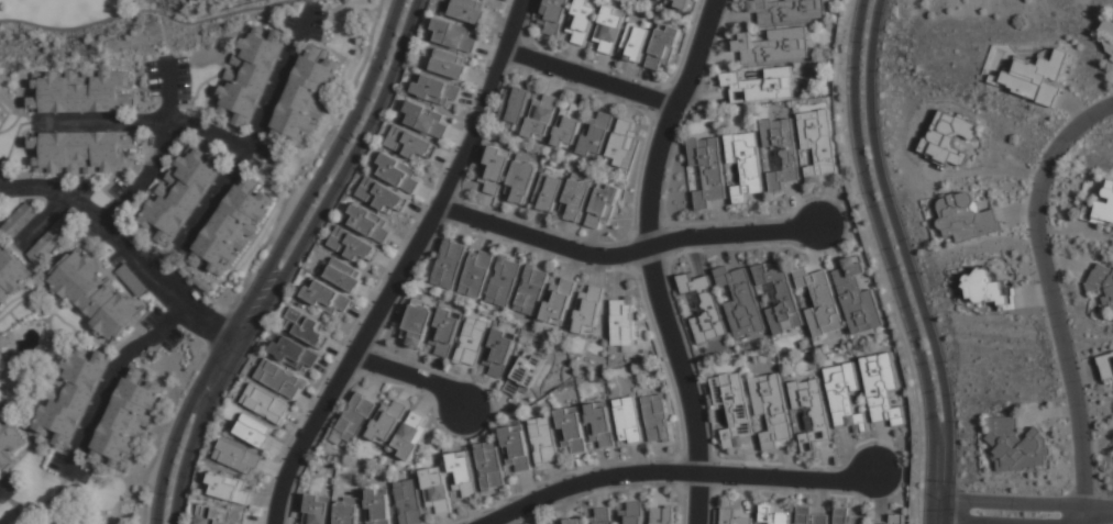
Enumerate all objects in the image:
building: (198, 0)
building: (659, 0)
building: (677, 3)
building: (470, 11)
building: (786, 11)
road: (147, 14)
building: (552, 16)
building: (582, 21)
park: (89, 24)
building: (1109, 26)
building: (609, 30)
building: (454, 35)
building: (635, 43)
building: (665, 45)
building: (772, 45)
road: (504, 46)
building: (1112, 55)
building: (1112, 59)
building: (451, 64)
building: (250, 74)
building: (1038, 77)
road: (588, 78)
building: (761, 86)
building: (434, 90)
building: (79, 91)
building: (305, 99)
road: (1112, 101)
building: (515, 104)
building: (1, 113)
road: (477, 114)
building: (542, 118)
building: (426, 119)
road: (145, 122)
building: (570, 126)
road: (253, 133)
building: (597, 135)
building: (949, 138)
building: (622, 142)
building: (410, 144)
building: (818, 145)
building: (80, 152)
building: (782, 152)
road: (155, 156)
building: (746, 165)
building: (496, 169)
building: (708, 170)
building: (399, 172)
building: (522, 180)
road: (0, 185)
building: (548, 192)
building: (180, 194)
building: (382, 194)
building: (576, 199)
building: (604, 204)
building: (1100, 208)
building: (966, 216)
building: (20, 220)
road: (45, 220)
building: (370, 223)
building: (231, 227)
building: (53, 235)
building: (353, 246)
road: (126, 249)
road: (885, 249)
road: (903, 249)
road: (625, 254)
road: (253, 258)
road: (651, 258)
road: (273, 260)
road: (290, 260)
road: (878, 261)
building: (450, 263)
building: (477, 272)
building: (11, 274)
building: (341, 274)
building: (505, 280)
building: (1103, 280)
building: (132, 281)
building: (864, 281)
building: (988, 289)
building: (532, 291)
building: (92, 296)
road: (1055, 296)
building: (326, 297)
building: (858, 297)
building: (781, 298)
building: (740, 301)
building: (822, 301)
building: (560, 302)
building: (702, 306)
building: (589, 310)
building: (625, 321)
building: (417, 325)
building: (306, 326)
road: (368, 328)
building: (445, 333)
building: (473, 342)
building: (295, 353)
building: (500, 353)
building: (1108, 366)
building: (525, 375)
road: (412, 376)
road: (109, 379)
building: (282, 380)
building: (882, 390)
building: (70, 395)
building: (845, 397)
building: (266, 403)
building: (734, 408)
building: (772, 410)
building: (812, 410)
building: (355, 417)
building: (658, 417)
building: (628, 420)
building: (125, 421)
building: (387, 423)
building: (600, 425)
building: (573, 430)
building: (255, 431)
building: (411, 436)
building: (544, 441)
building: (5, 443)
building: (1017, 446)
building: (517, 447)
building: (238, 456)
building: (489, 465)
building: (463, 471)
road: (679, 472)
building: (229, 488)
road: (1, 490)
building: (438, 490)
building: (409, 502)
road: (1009, 503)
building: (378, 506)
building: (318, 509)
road: (929, 511)
road: (945, 511)
building: (348, 512)
building: (632, 513)
building: (663, 514)
road: (1099, 514)
building: (219, 515)
building: (600, 515)
building: (772, 515)
building: (734, 516)
building: (809, 516)
building: (847, 516)
building: (895, 519)
road: (1077, 520)
road: (1082, 520)
road: (1084, 520)
building: (571, 521)
road: (970, 521)
building: (877, 523)

